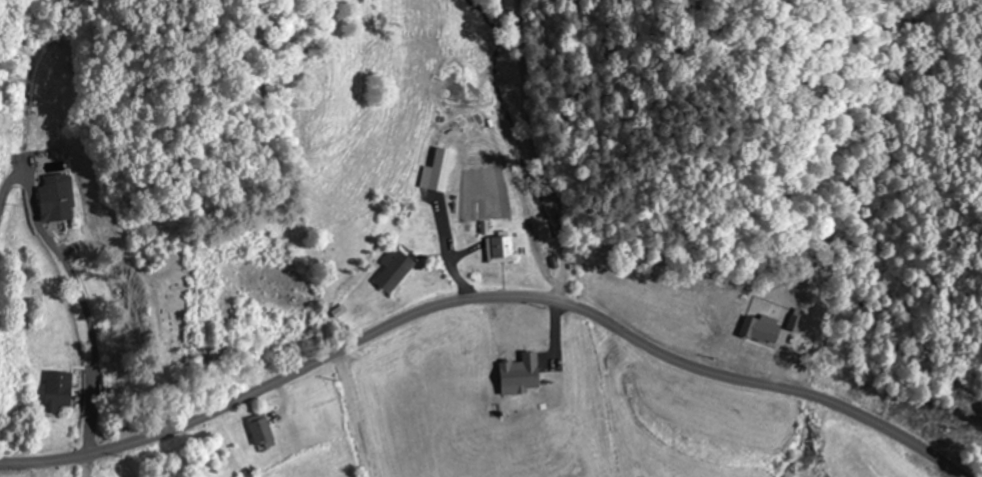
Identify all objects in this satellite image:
building: (438, 169)
building: (54, 198)
building: (498, 249)
building: (390, 271)
road: (482, 300)
building: (782, 301)
road: (30, 321)
building: (753, 341)
building: (55, 390)
road: (350, 414)
building: (260, 430)
road: (167, 455)
road: (91, 466)

